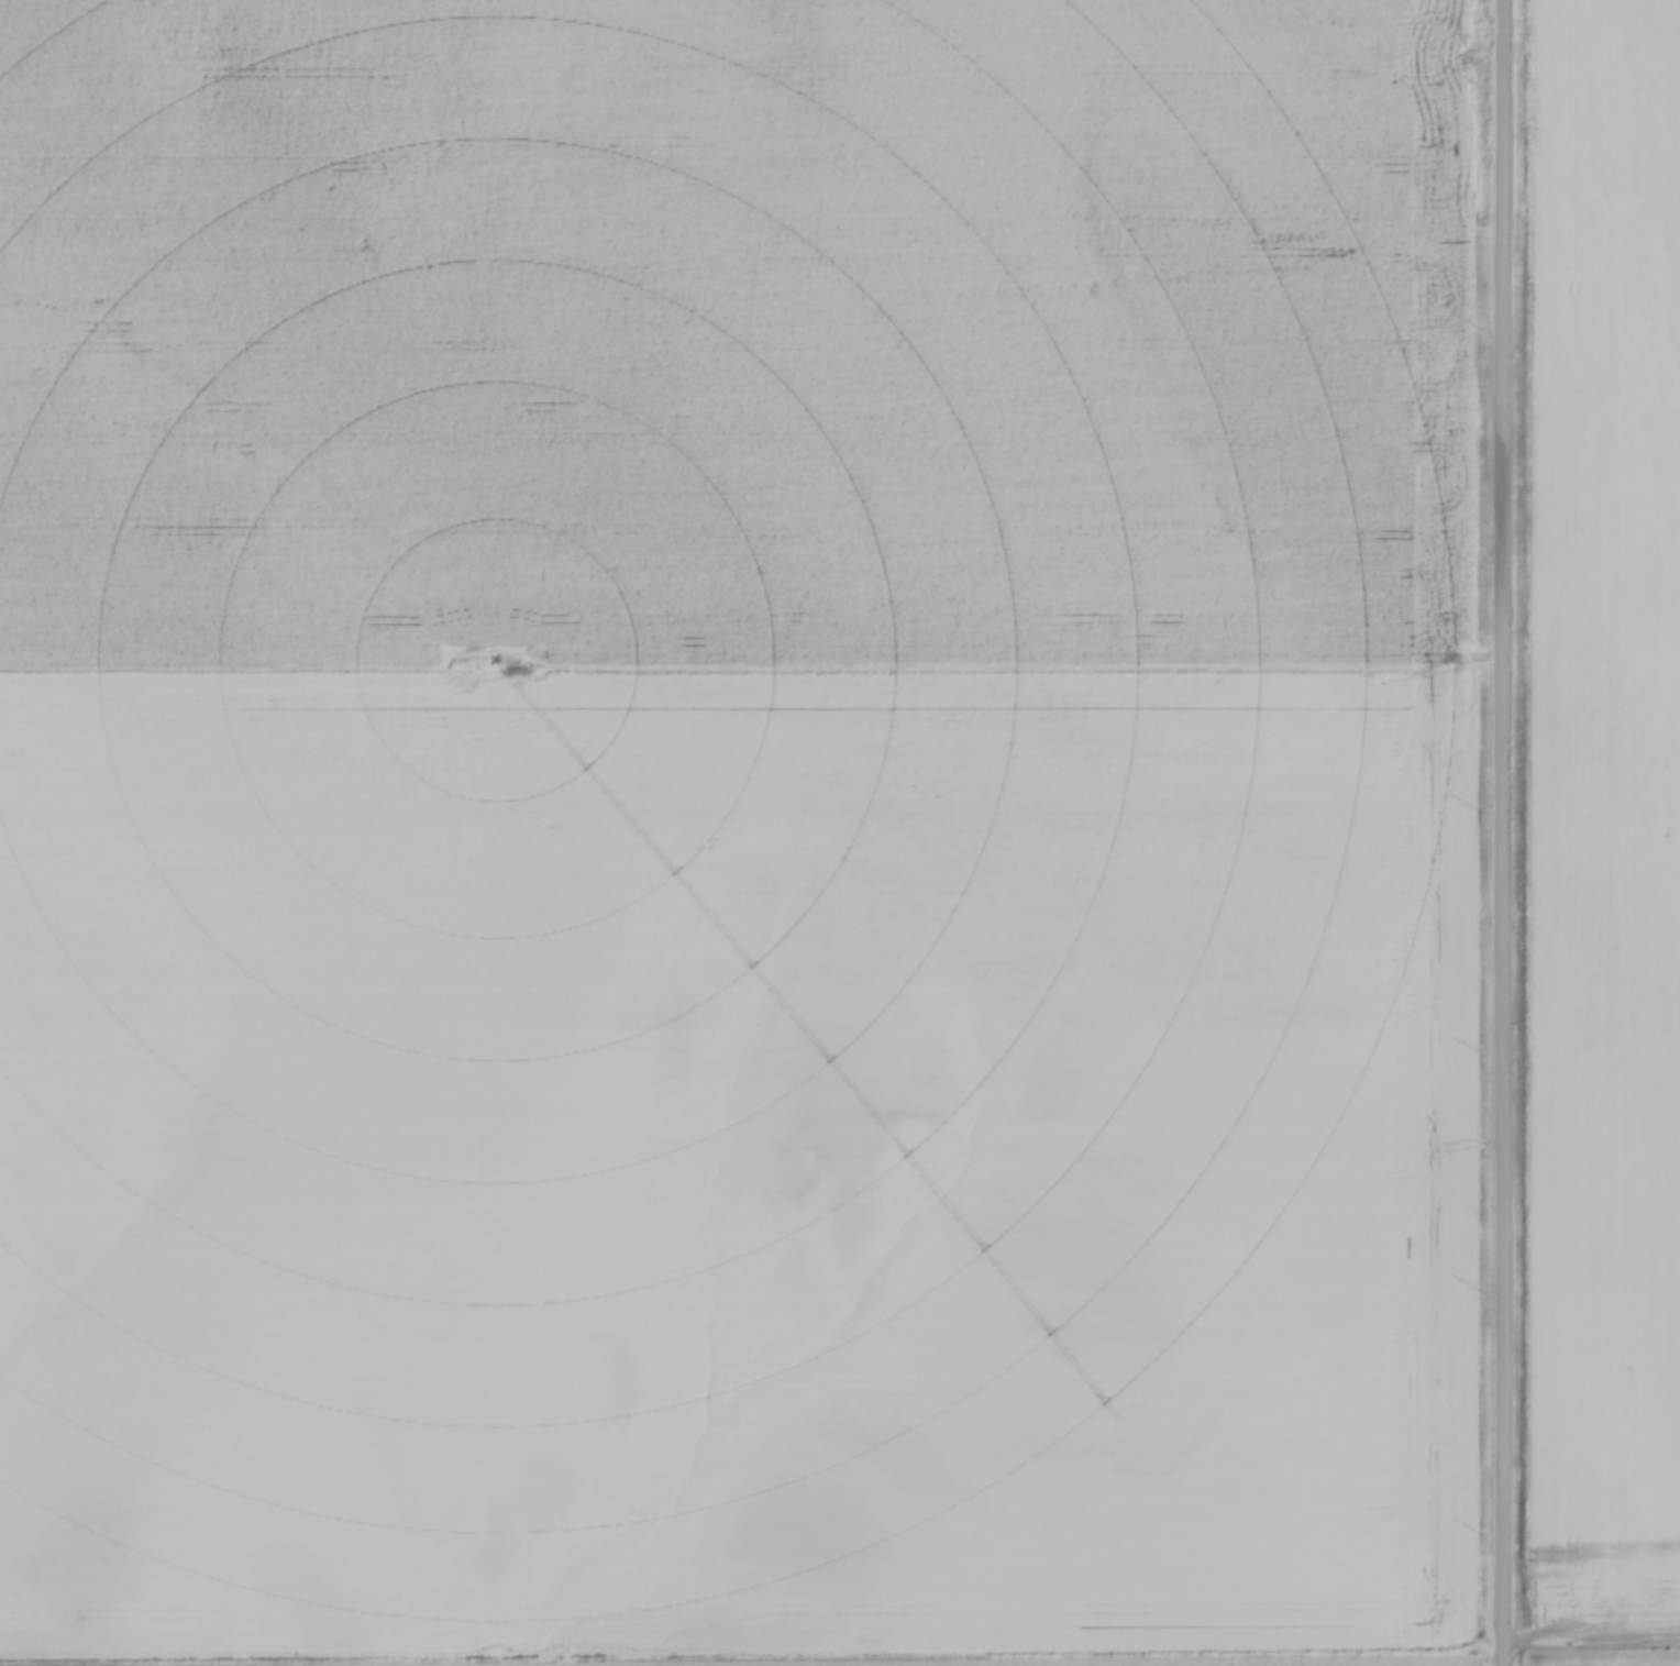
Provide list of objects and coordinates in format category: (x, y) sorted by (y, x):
road: (1502, 832)

